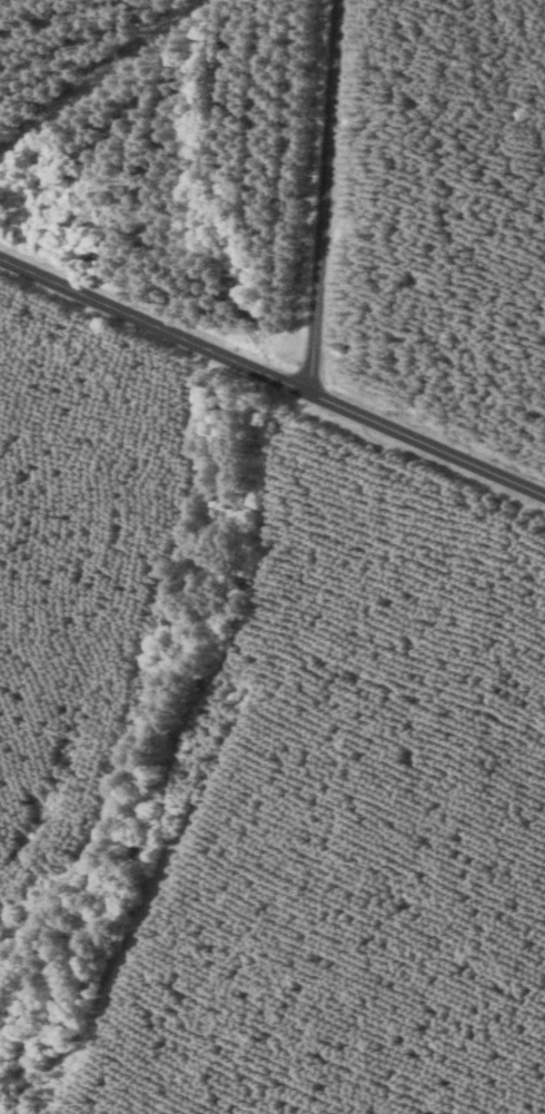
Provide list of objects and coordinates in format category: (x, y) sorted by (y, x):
road: (327, 204)
road: (272, 392)

